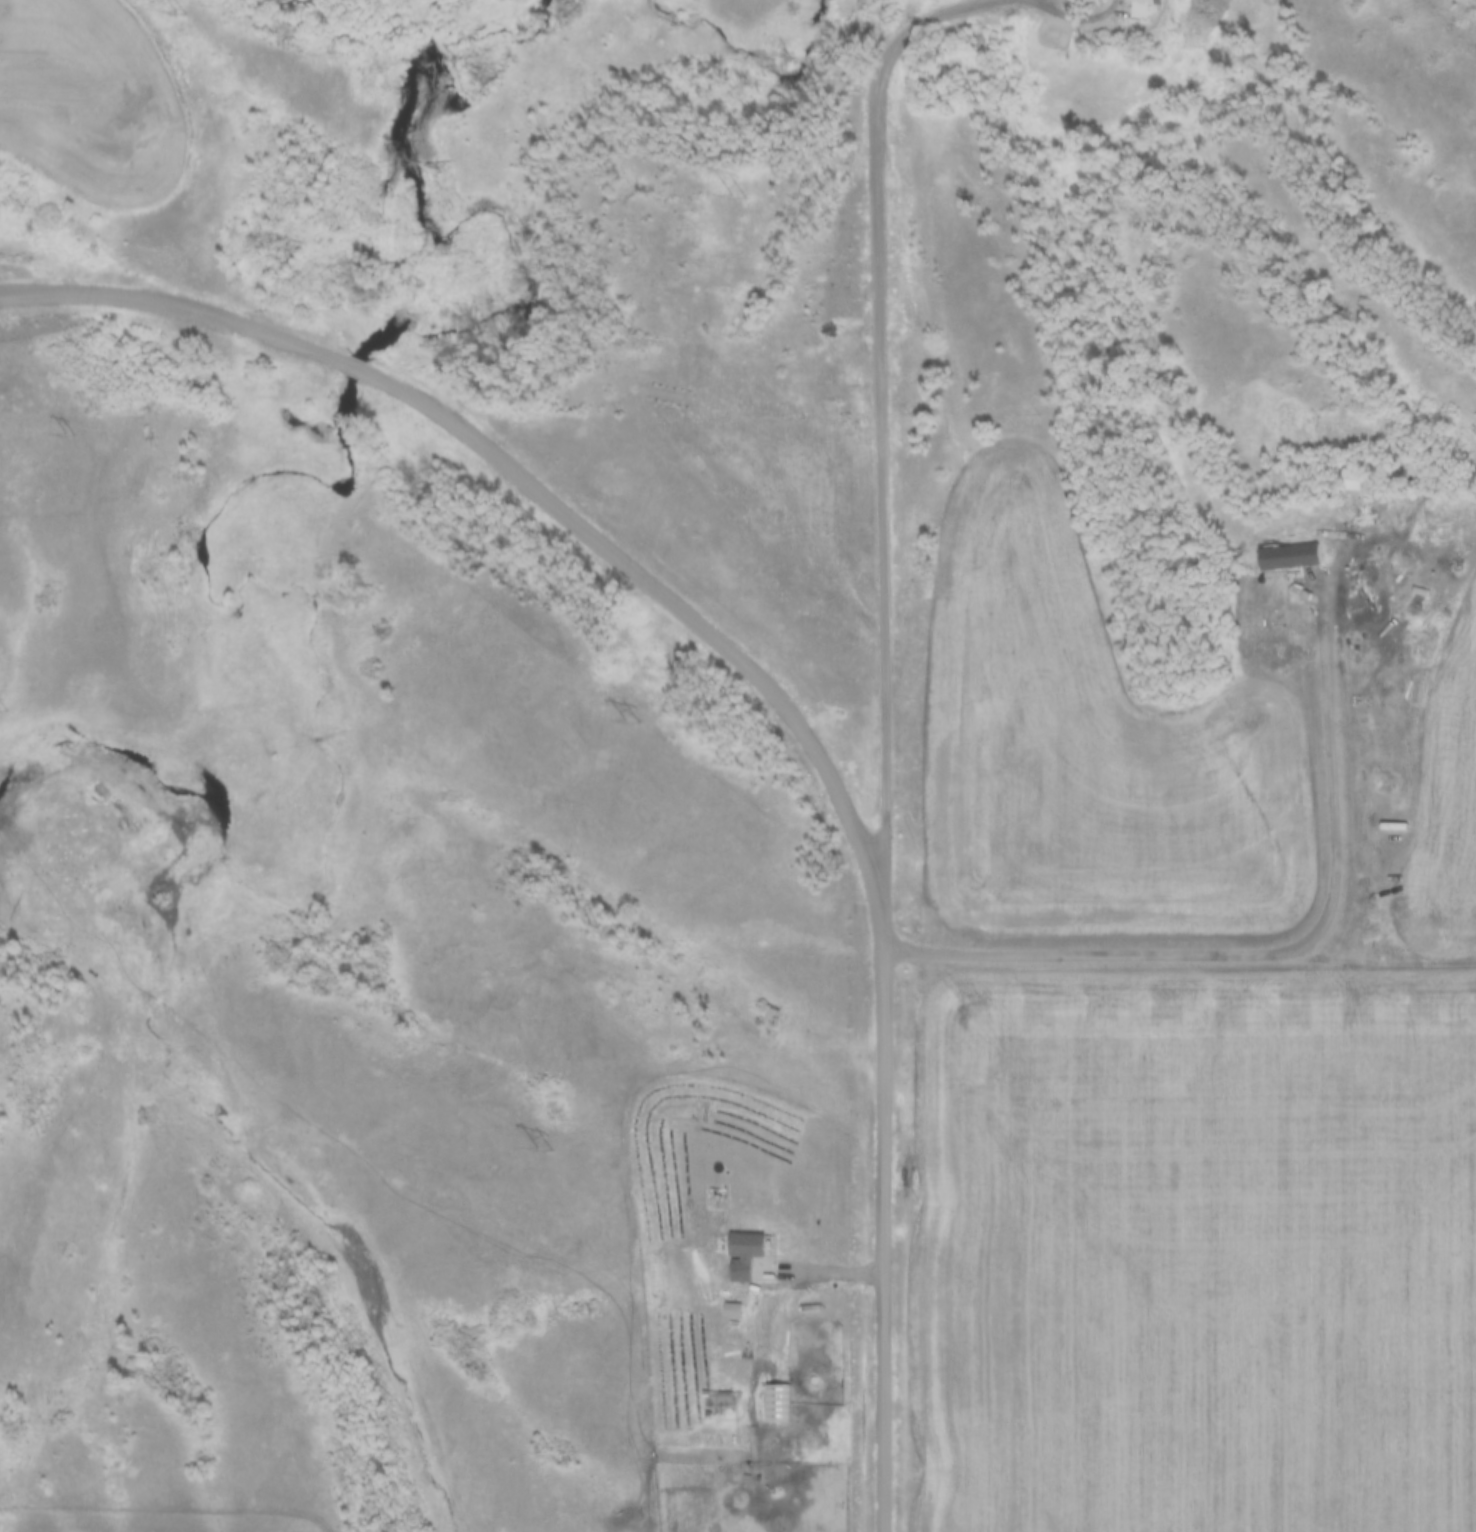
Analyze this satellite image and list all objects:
building: (1143, 9)
road: (1077, 11)
building: (975, 38)
road: (882, 434)
building: (1345, 476)
road: (528, 478)
road: (788, 490)
road: (1313, 723)
road: (1082, 954)
road: (1379, 960)
road: (884, 1222)

